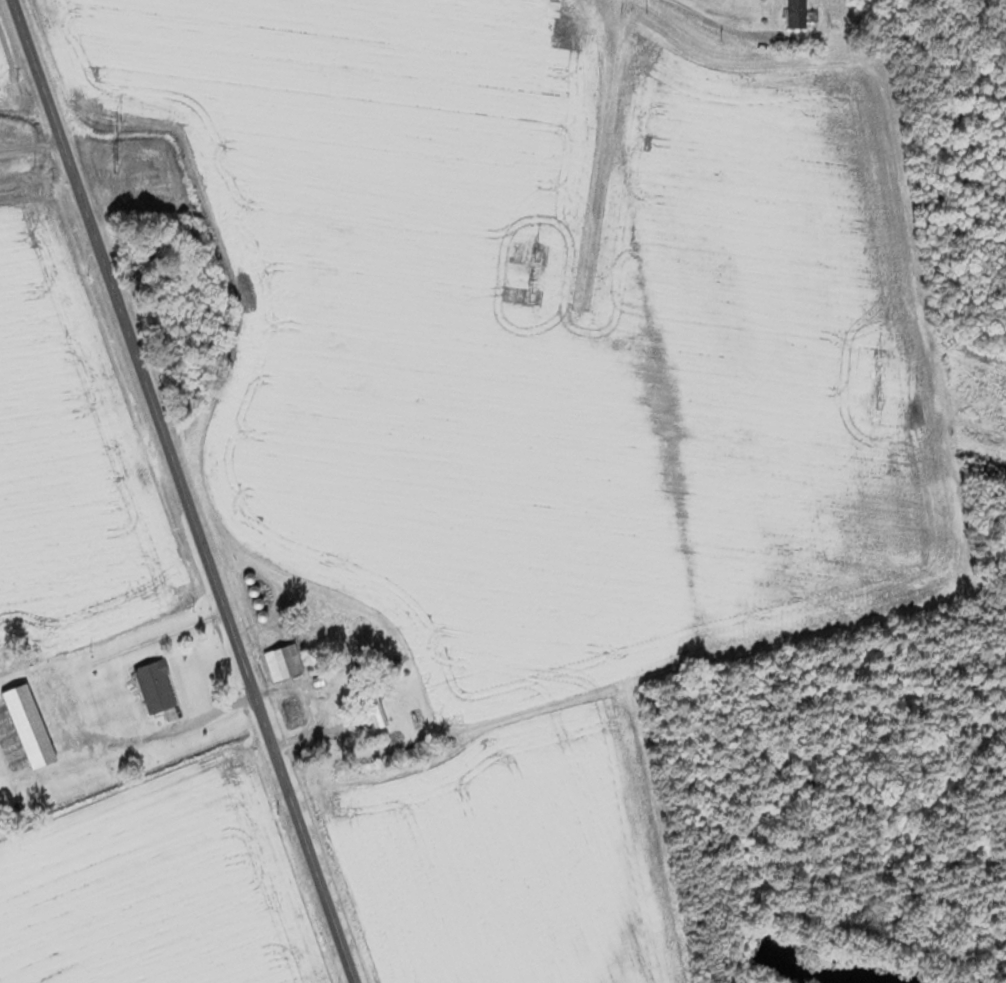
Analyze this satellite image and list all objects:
building: (790, 13)
road: (720, 26)
power tower: (133, 124)
road: (31, 144)
power tower: (535, 255)
power tower: (876, 360)
road: (183, 491)
building: (256, 593)
building: (285, 662)
building: (158, 686)
building: (297, 713)
building: (33, 725)

